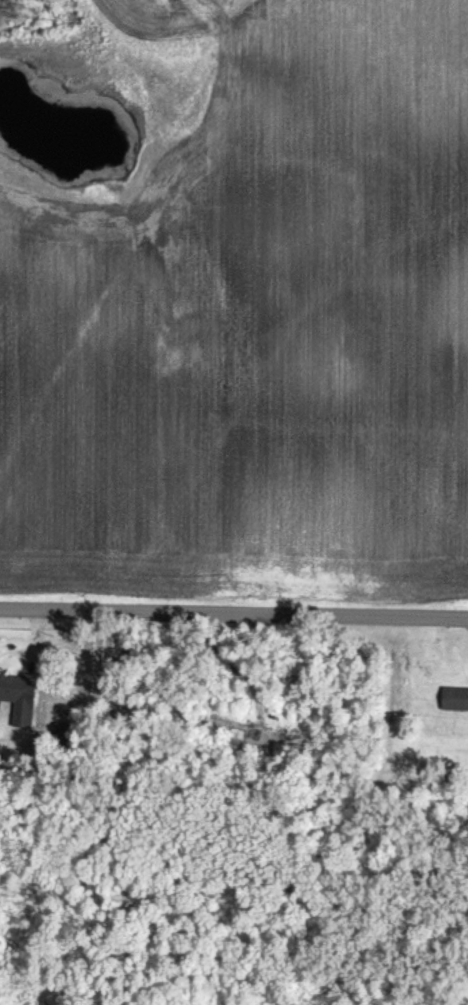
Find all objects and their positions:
road: (234, 612)
building: (19, 697)
building: (453, 697)

